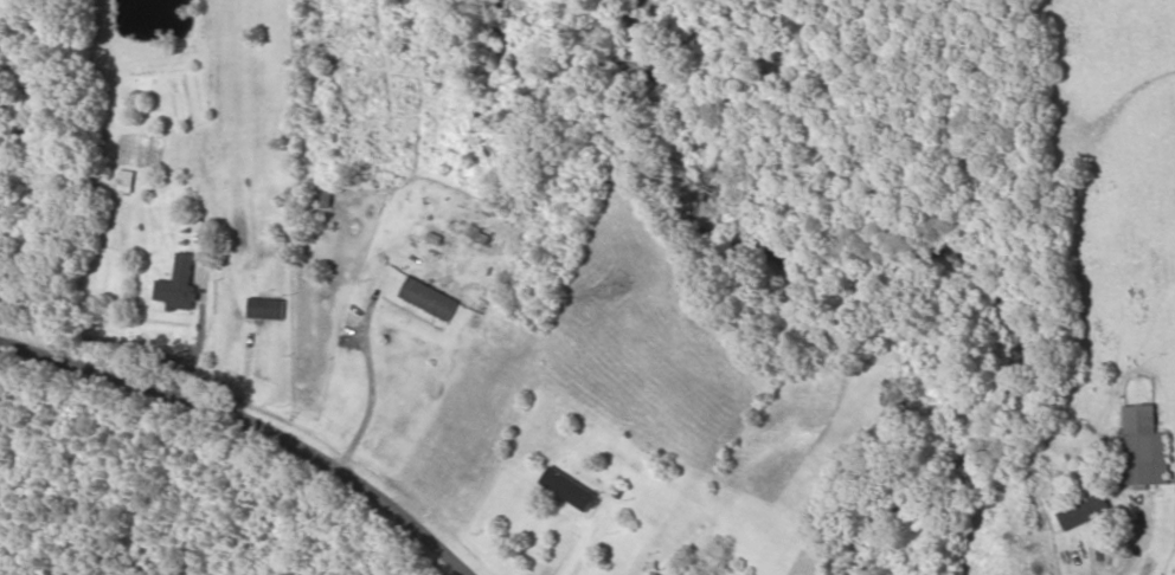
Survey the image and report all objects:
building: (127, 187)
building: (180, 284)
building: (430, 299)
building: (267, 309)
road: (272, 422)
building: (1143, 451)
building: (571, 490)
building: (1087, 512)
building: (655, 574)

